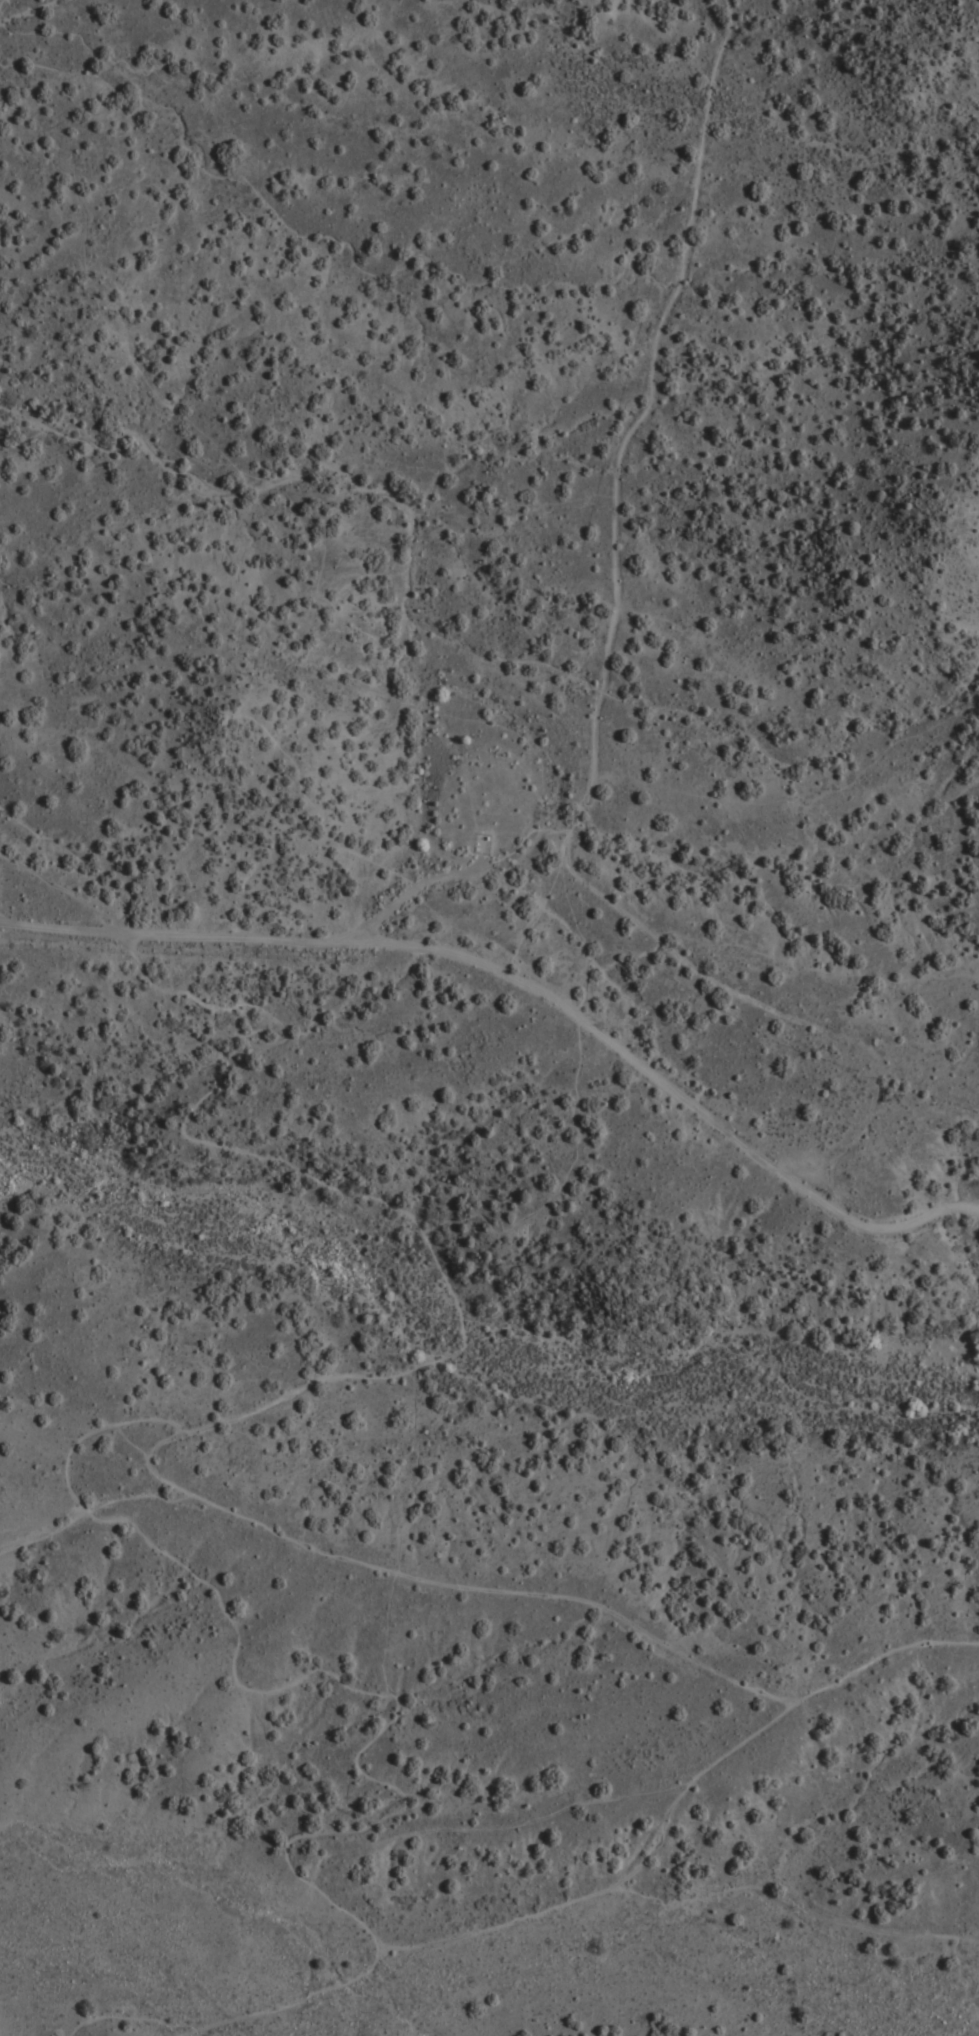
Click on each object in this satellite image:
road: (2, 7)
park: (260, 62)
road: (327, 576)
building: (477, 843)
storage tank: (477, 843)
road: (777, 1015)
road: (580, 1096)
road: (890, 1229)
road: (91, 1438)
road: (402, 1536)
road: (47, 1537)
road: (321, 1548)
road: (764, 1684)
road: (685, 1800)
road: (797, 1902)
road: (472, 1934)
road: (964, 1973)

